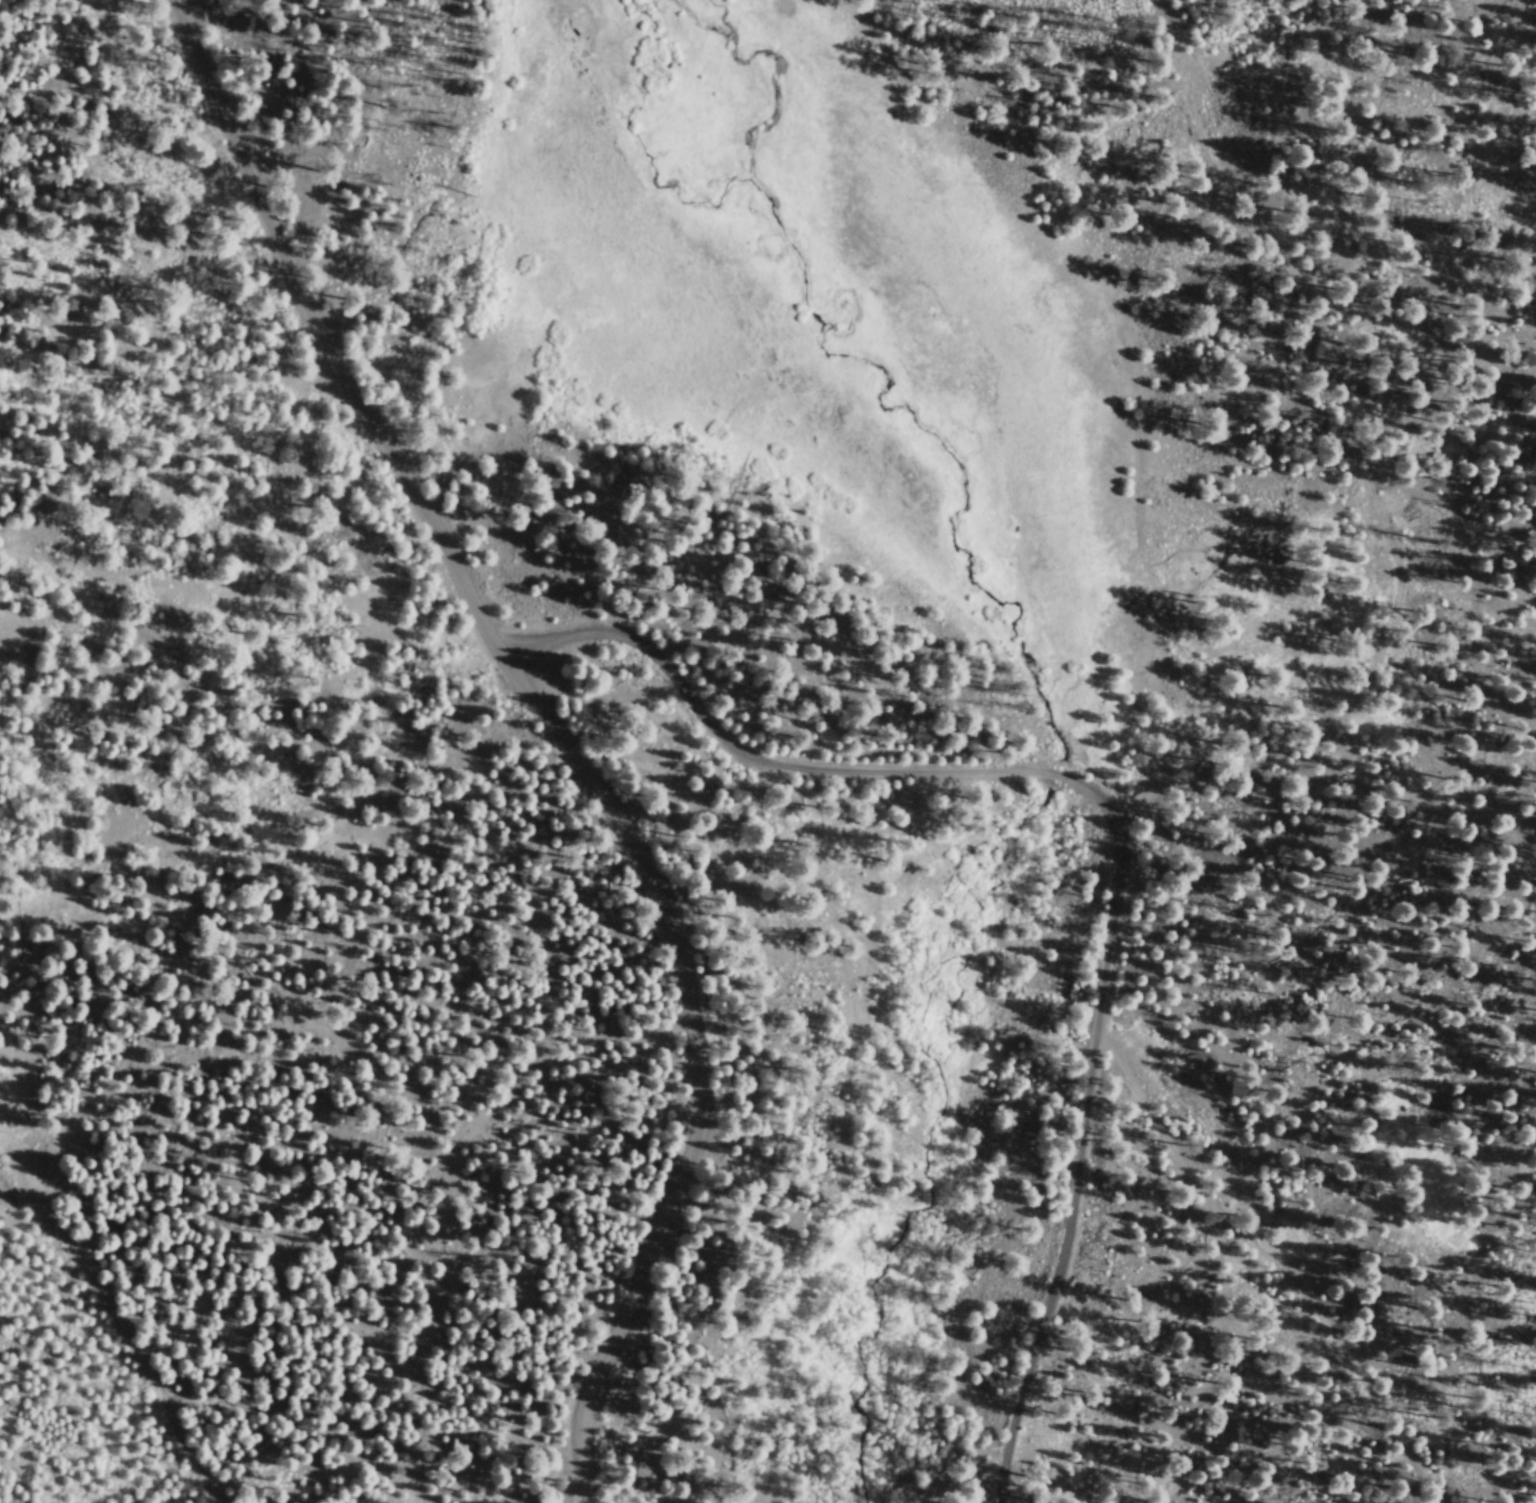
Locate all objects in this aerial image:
road: (1228, 430)
road: (558, 729)
road: (1113, 821)
road: (1315, 915)
road: (1459, 1110)

